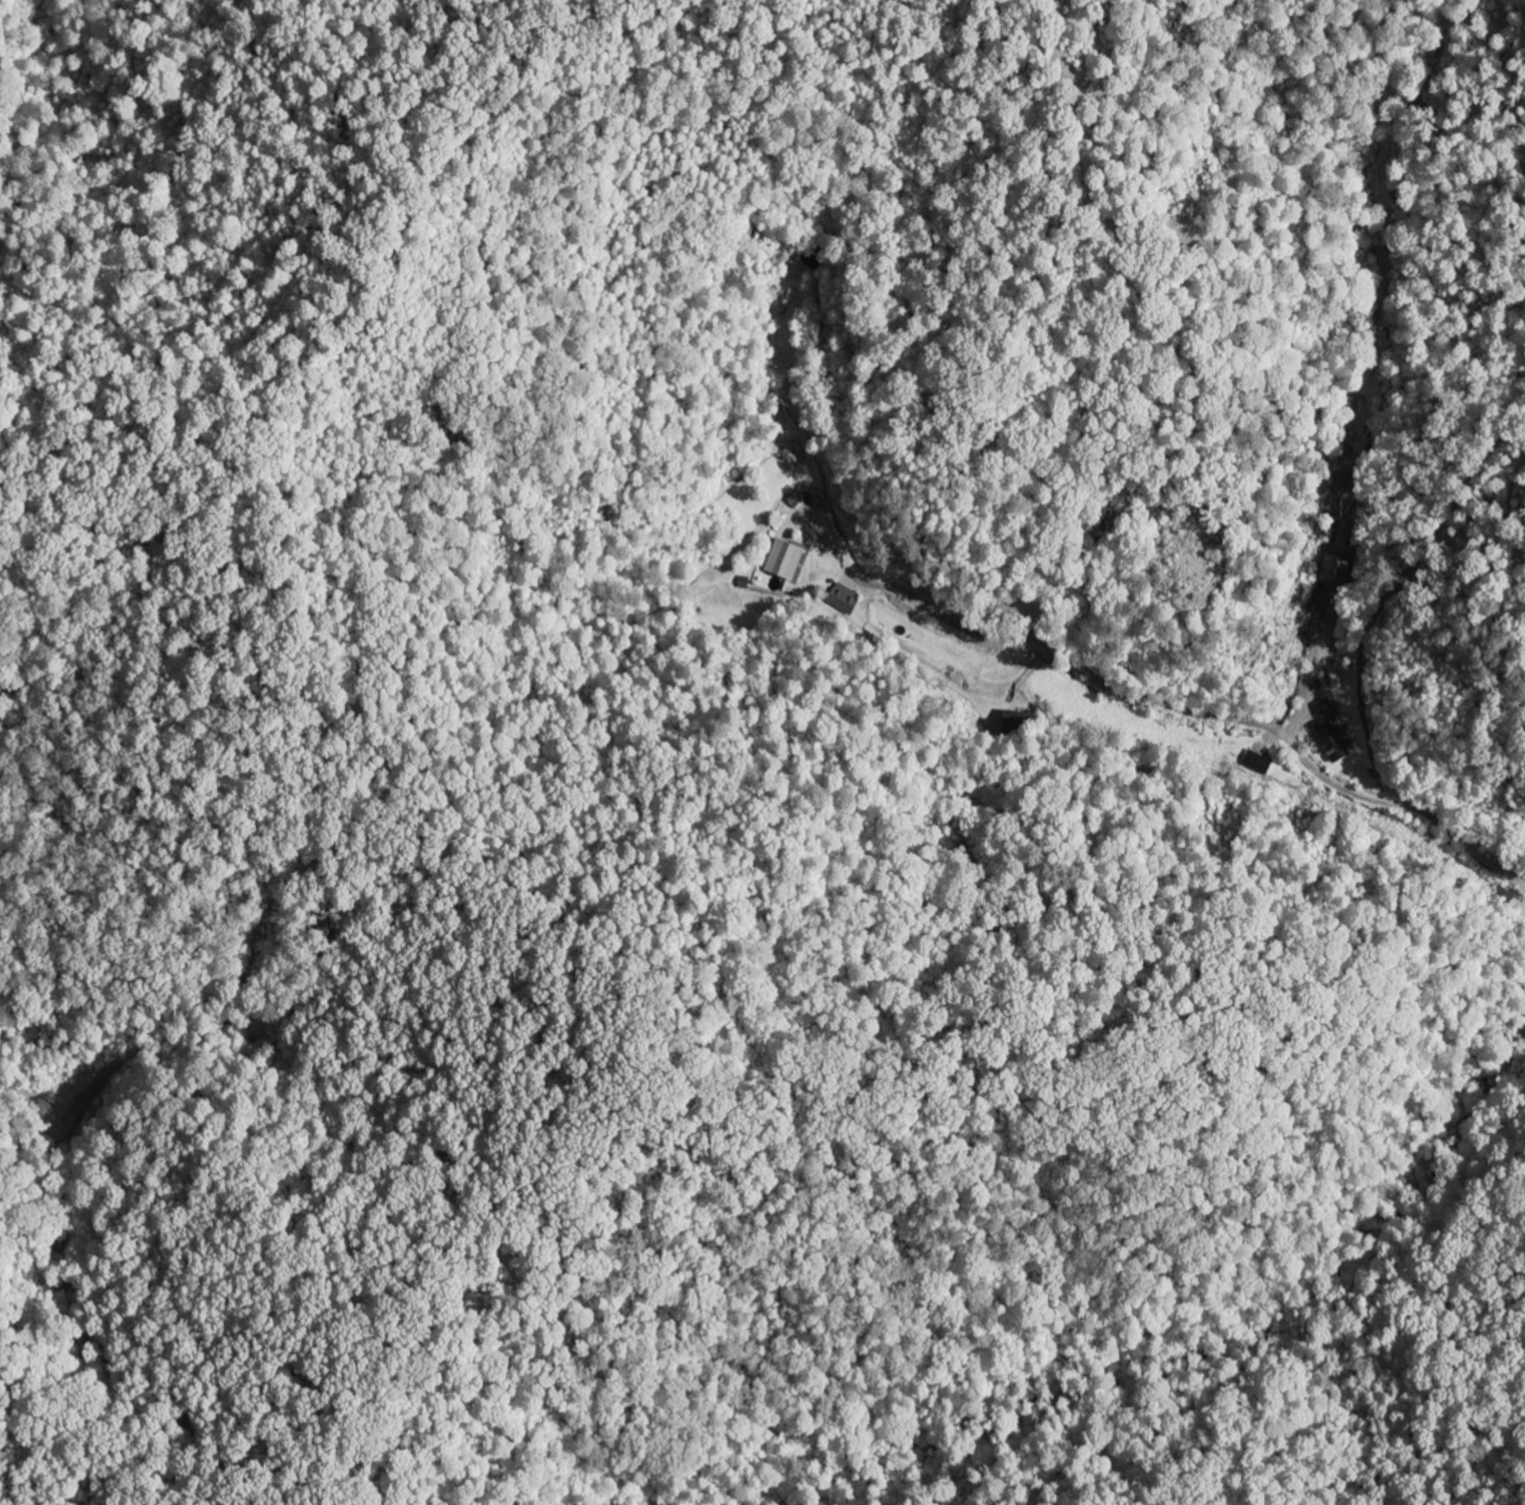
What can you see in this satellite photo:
building: (788, 561)
building: (1335, 570)
building: (845, 601)
road: (1172, 691)
building: (1332, 734)

